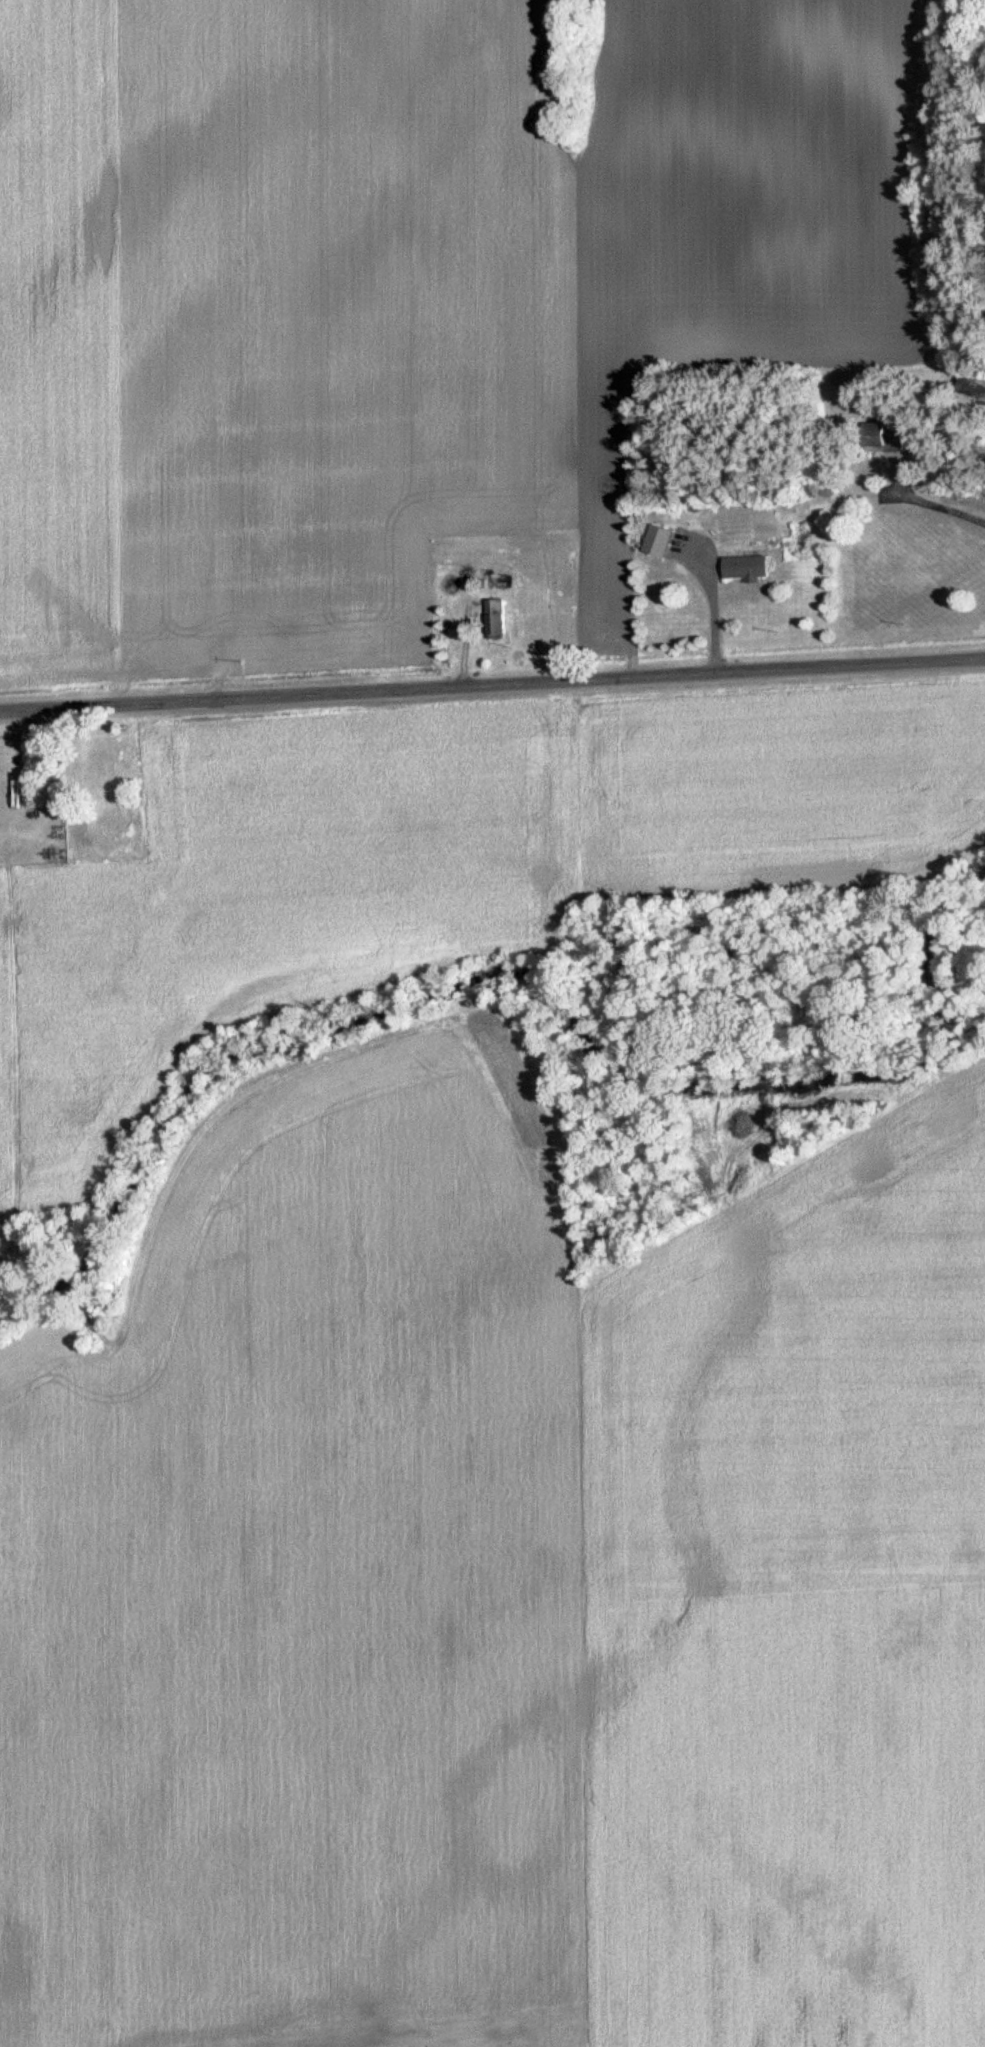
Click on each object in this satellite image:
building: (971, 390)
building: (886, 436)
road: (934, 506)
building: (658, 540)
building: (746, 567)
road: (711, 603)
building: (494, 618)
road: (492, 687)
building: (105, 772)

